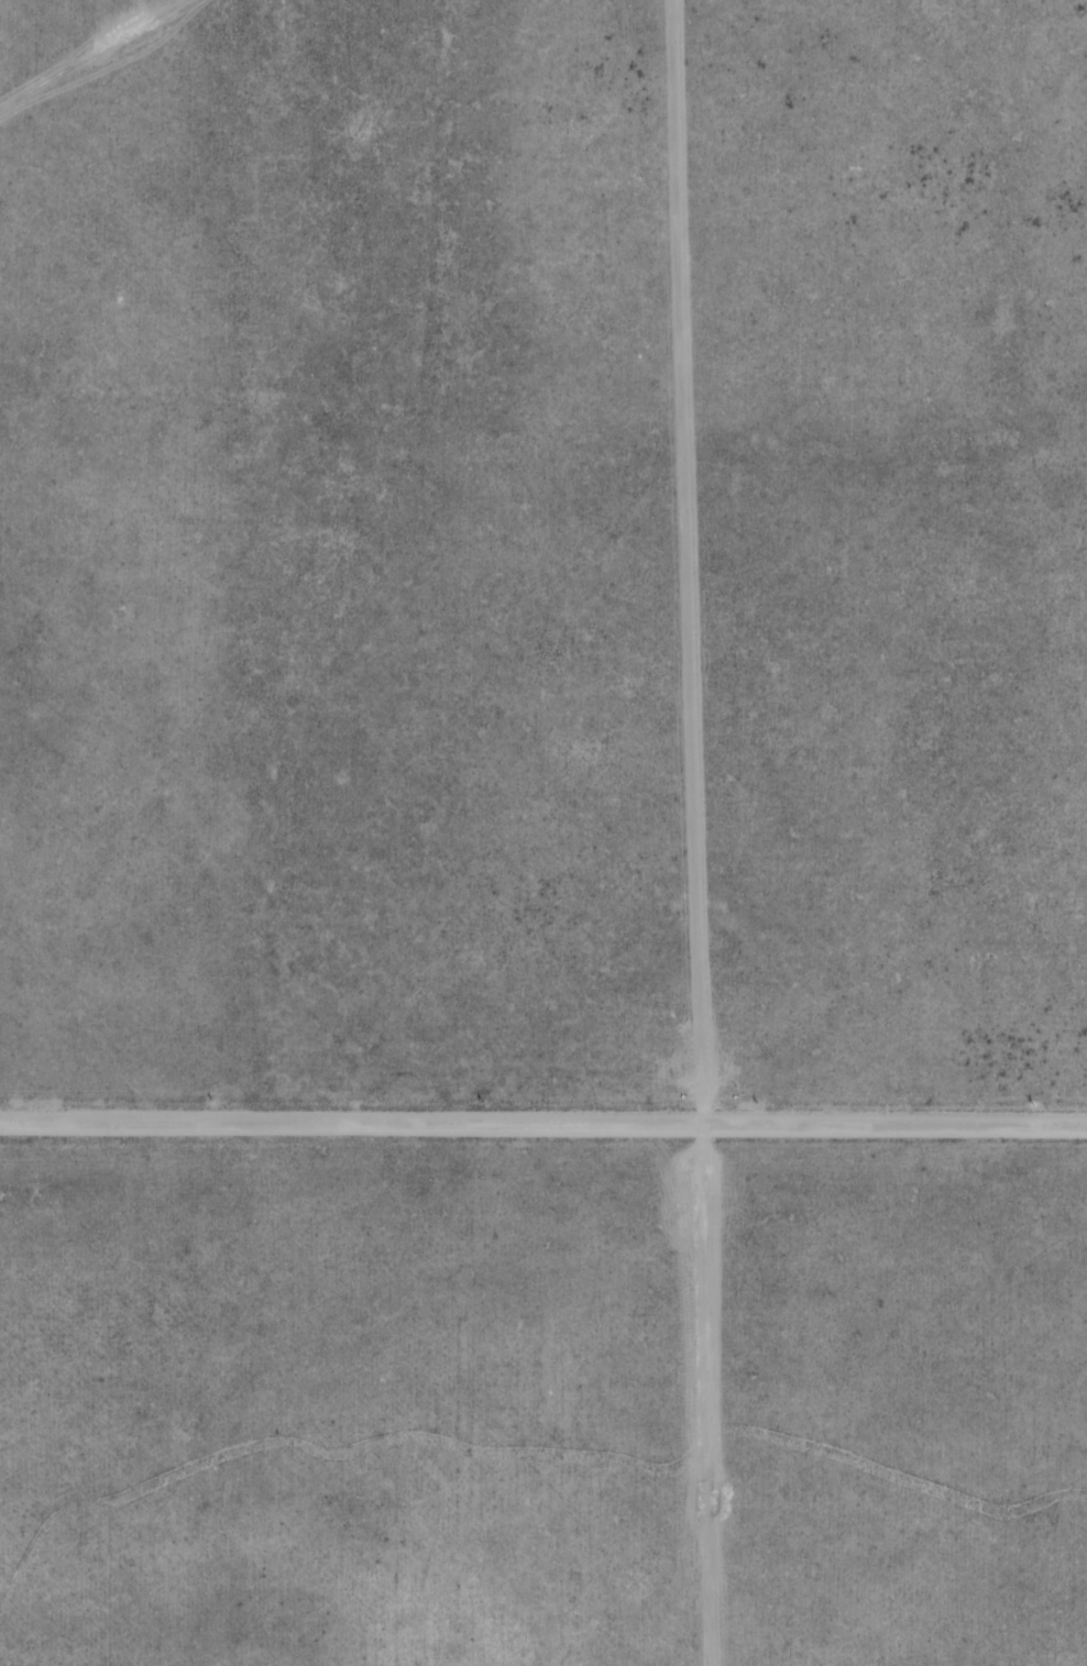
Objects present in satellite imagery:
road: (543, 1130)

